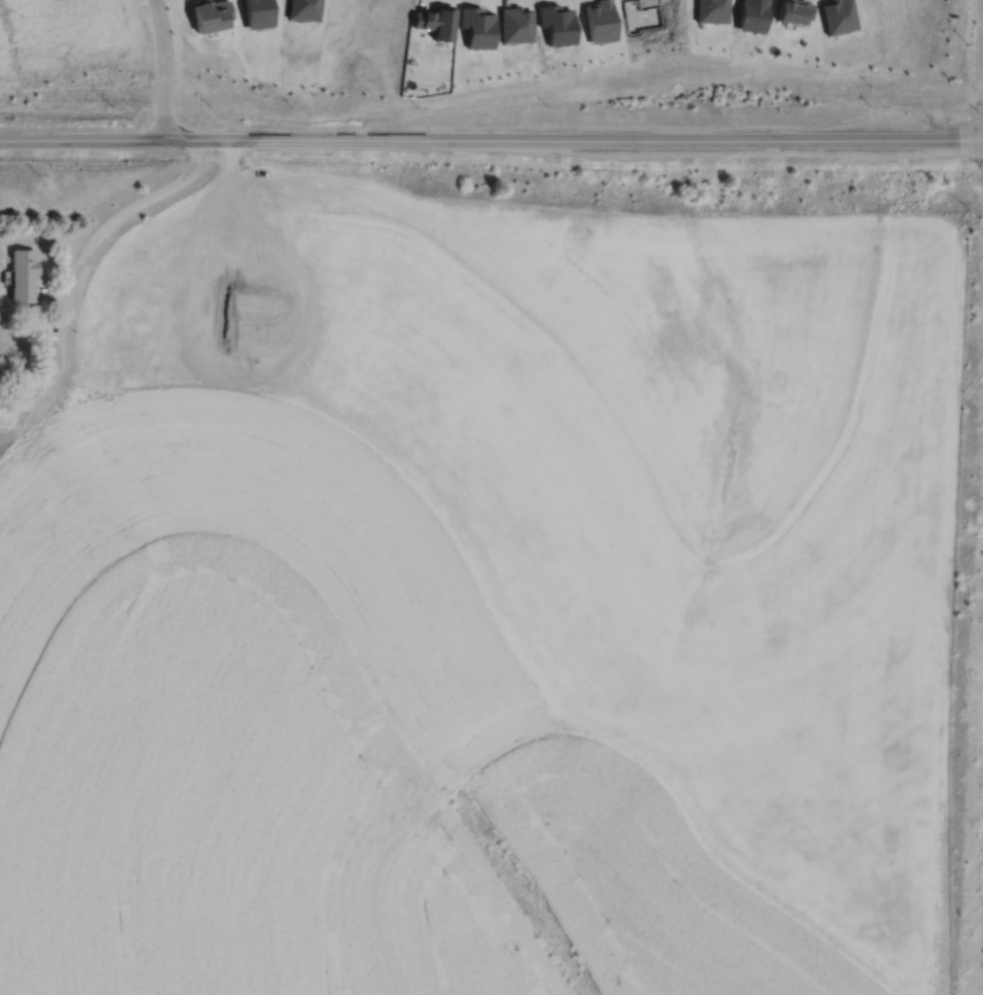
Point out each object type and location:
building: (305, 10)
building: (709, 10)
building: (795, 10)
building: (258, 12)
building: (211, 15)
building: (644, 15)
building: (837, 15)
building: (753, 17)
building: (601, 21)
building: (437, 22)
building: (517, 25)
building: (479, 28)
building: (559, 28)
road: (164, 69)
road: (491, 139)
road: (126, 208)
building: (22, 274)
road: (55, 295)
road: (65, 313)
building: (48, 356)

